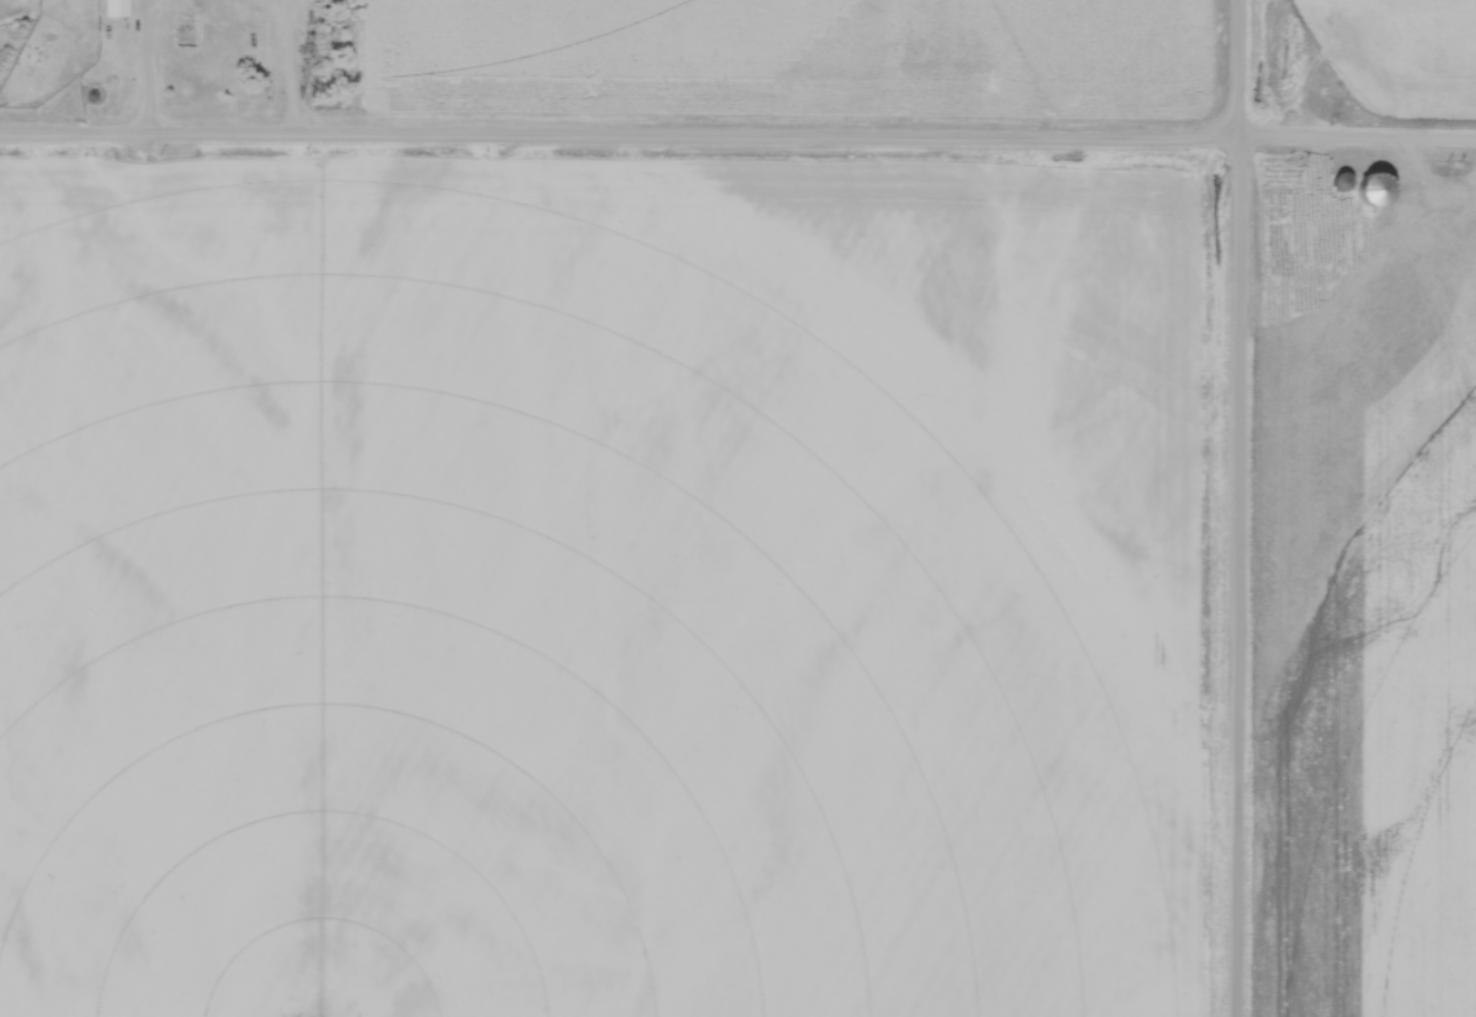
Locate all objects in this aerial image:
building: (122, 8)
building: (187, 34)
road: (291, 68)
road: (368, 68)
road: (148, 81)
road: (738, 137)
building: (1343, 182)
road: (1235, 508)

